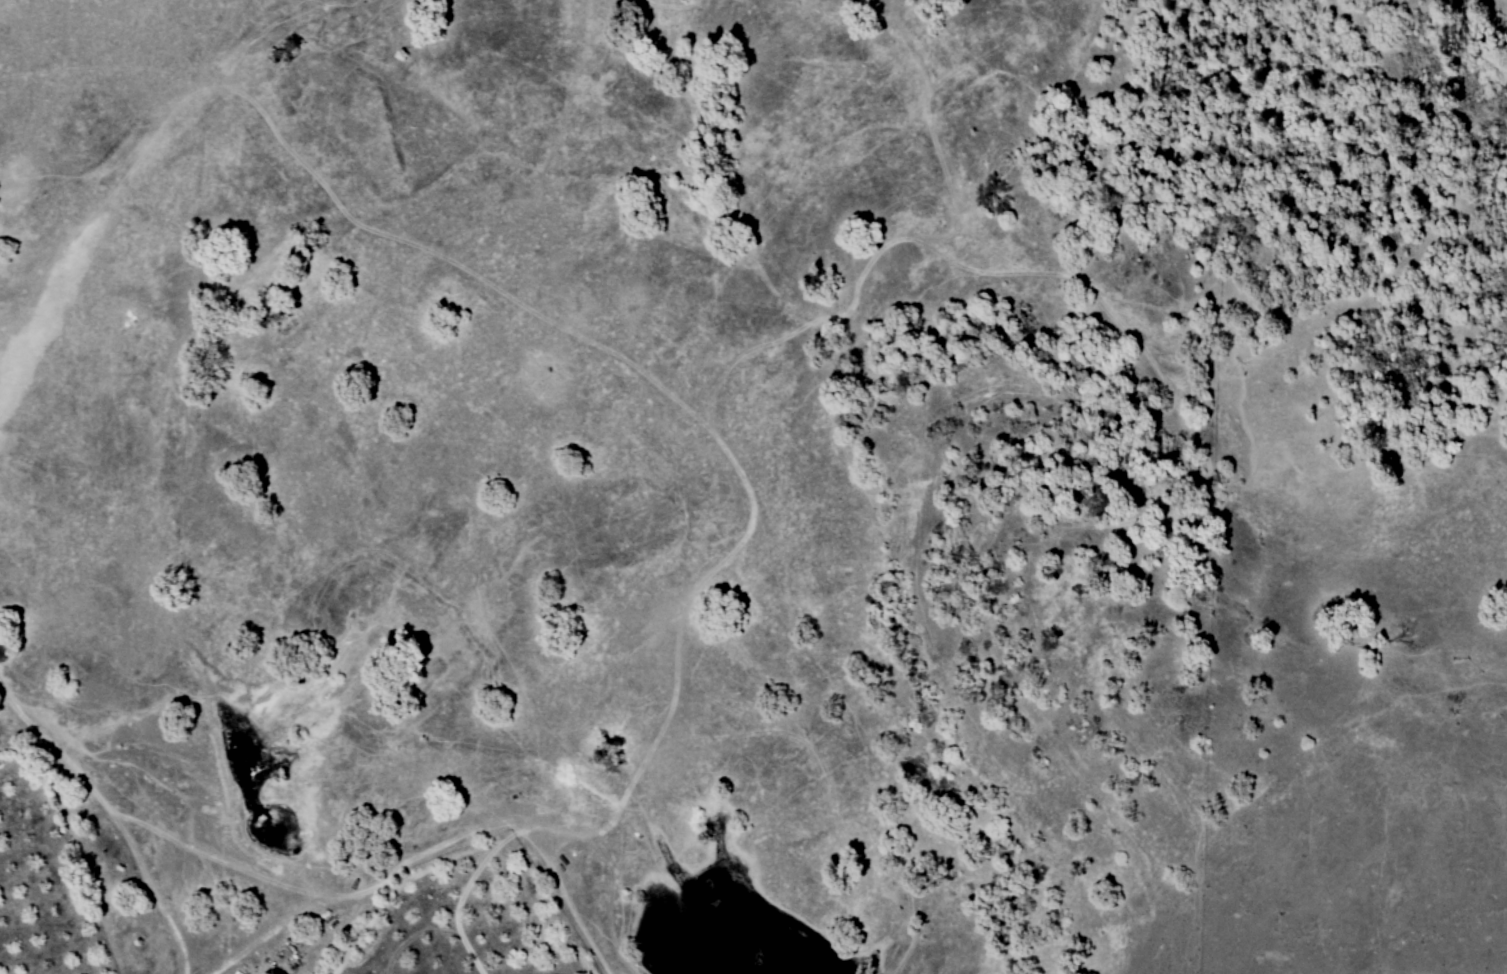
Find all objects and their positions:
road: (437, 849)

